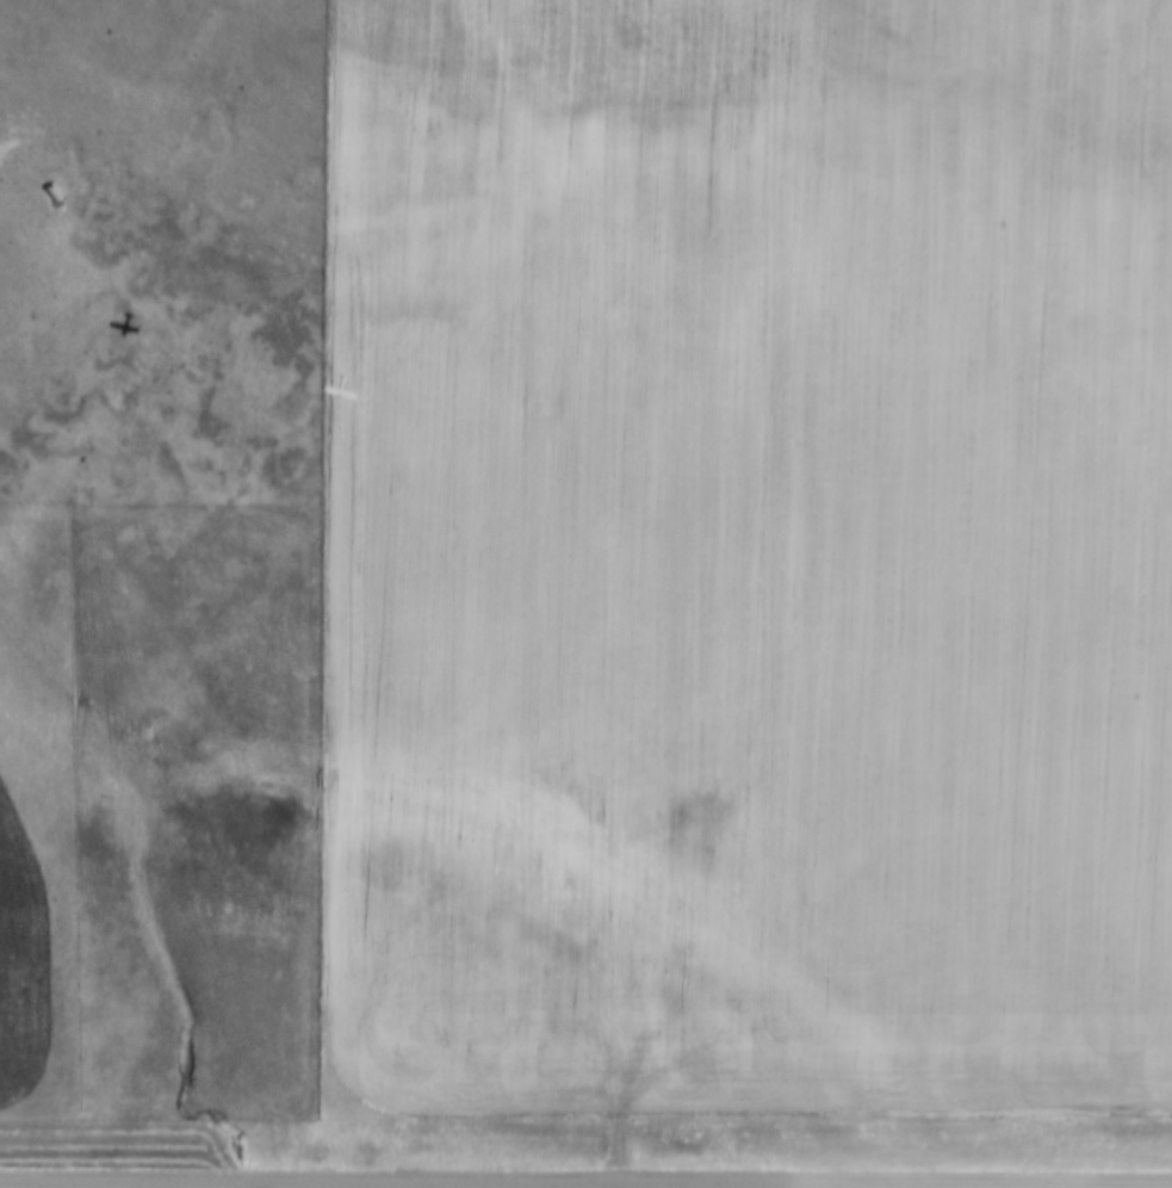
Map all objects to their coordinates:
road: (585, 1182)

